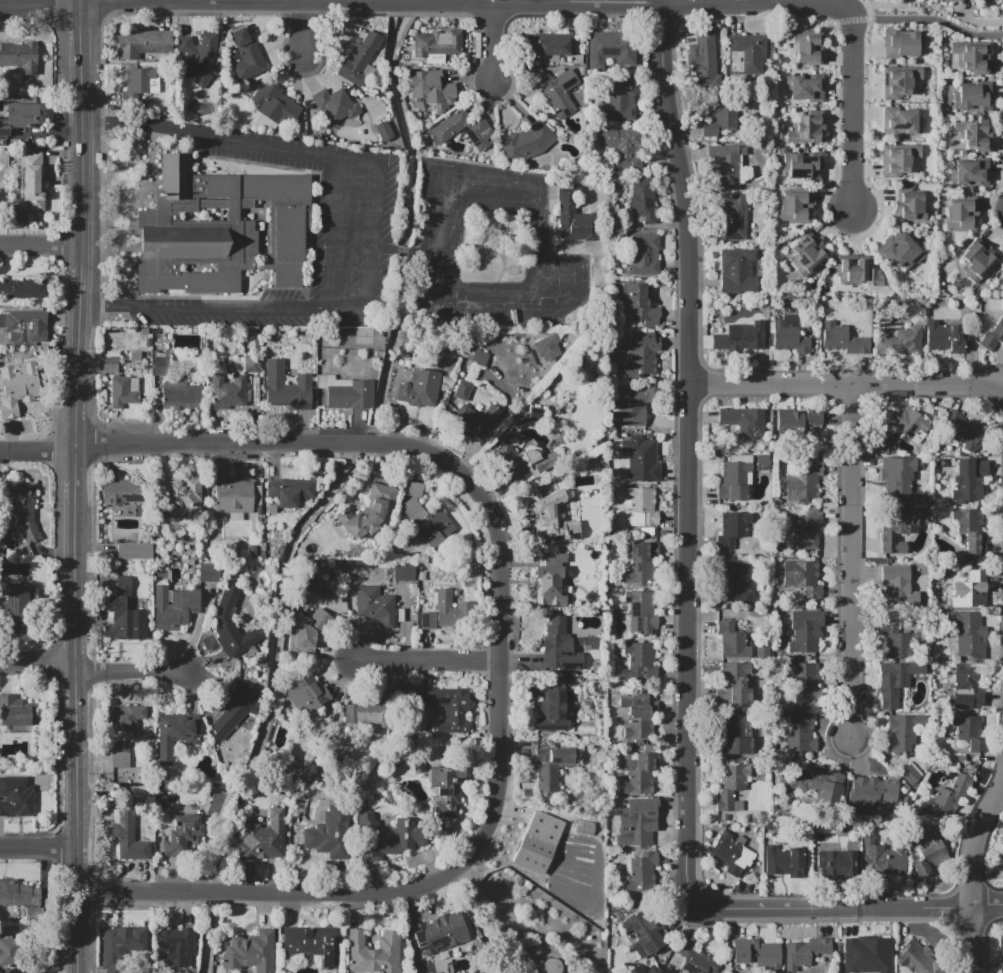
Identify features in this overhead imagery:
road: (762, 1)
building: (950, 1)
road: (79, 2)
road: (370, 2)
road: (845, 2)
road: (39, 5)
road: (877, 5)
road: (929, 19)
road: (979, 21)
road: (306, 30)
road: (491, 42)
building: (141, 43)
building: (908, 43)
building: (435, 45)
building: (550, 47)
building: (609, 48)
building: (807, 48)
building: (749, 53)
building: (245, 56)
building: (970, 57)
building: (19, 58)
building: (197, 58)
building: (356, 59)
building: (701, 60)
building: (137, 79)
building: (908, 83)
building: (802, 85)
building: (431, 90)
building: (555, 90)
building: (971, 95)
building: (618, 101)
building: (273, 103)
building: (343, 107)
building: (720, 115)
road: (852, 115)
building: (20, 117)
building: (900, 121)
road: (141, 124)
building: (464, 128)
building: (804, 129)
building: (383, 130)
building: (970, 134)
building: (526, 142)
road: (271, 145)
building: (621, 150)
road: (82, 153)
road: (361, 160)
building: (900, 161)
building: (725, 164)
building: (800, 165)
building: (968, 174)
building: (32, 181)
building: (0, 199)
building: (639, 203)
building: (907, 203)
building: (794, 207)
building: (960, 214)
building: (573, 219)
building: (731, 219)
building: (219, 230)
parking lot: (354, 230)
road: (336, 231)
road: (539, 231)
road: (372, 233)
road: (40, 245)
road: (383, 248)
road: (402, 250)
building: (805, 254)
building: (903, 254)
building: (642, 255)
building: (976, 260)
building: (849, 270)
building: (736, 271)
building: (23, 288)
road: (222, 304)
building: (640, 305)
building: (24, 325)
building: (786, 334)
building: (746, 336)
building: (946, 337)
building: (992, 337)
building: (352, 338)
building: (842, 339)
building: (907, 341)
building: (303, 344)
building: (546, 347)
building: (638, 352)
building: (112, 354)
building: (135, 356)
building: (480, 358)
building: (251, 364)
building: (110, 365)
building: (159, 365)
building: (23, 383)
road: (846, 386)
building: (418, 389)
building: (462, 390)
building: (121, 393)
building: (227, 393)
building: (350, 395)
building: (288, 396)
building: (179, 397)
building: (633, 409)
building: (473, 420)
building: (816, 420)
building: (743, 423)
building: (909, 426)
building: (967, 433)
road: (688, 449)
road: (36, 451)
building: (640, 459)
building: (523, 465)
building: (898, 481)
building: (967, 481)
building: (732, 482)
building: (803, 483)
building: (121, 491)
building: (291, 491)
building: (234, 495)
building: (178, 496)
building: (22, 508)
building: (638, 508)
building: (368, 512)
building: (426, 517)
building: (552, 518)
building: (970, 529)
building: (809, 531)
building: (897, 531)
building: (731, 534)
building: (134, 551)
building: (640, 561)
road: (854, 562)
building: (208, 571)
building: (403, 572)
building: (546, 578)
building: (804, 578)
building: (896, 578)
building: (734, 584)
building: (970, 591)
road: (75, 597)
building: (374, 605)
building: (17, 607)
building: (173, 607)
building: (122, 612)
building: (441, 613)
building: (642, 615)
building: (231, 624)
building: (803, 632)
building: (306, 633)
building: (969, 635)
building: (731, 641)
building: (896, 641)
building: (558, 648)
road: (428, 658)
building: (640, 659)
road: (37, 664)
road: (501, 667)
road: (134, 672)
building: (895, 679)
building: (970, 684)
building: (734, 685)
building: (804, 687)
building: (306, 694)
building: (445, 708)
building: (233, 710)
building: (17, 712)
building: (552, 715)
building: (364, 716)
building: (637, 722)
building: (967, 731)
building: (123, 732)
building: (796, 733)
building: (900, 733)
building: (177, 734)
building: (732, 739)
building: (550, 768)
building: (639, 775)
building: (817, 783)
building: (732, 788)
building: (958, 789)
building: (446, 791)
building: (872, 791)
building: (17, 799)
building: (638, 830)
building: (127, 835)
building: (328, 835)
building: (182, 837)
building: (262, 838)
building: (386, 838)
building: (1001, 841)
building: (539, 843)
road: (39, 849)
building: (731, 853)
building: (929, 855)
building: (882, 859)
building: (783, 861)
building: (1002, 861)
building: (833, 866)
building: (641, 871)
road: (975, 875)
building: (20, 893)
road: (847, 908)
building: (646, 931)
building: (441, 932)
road: (78, 933)
building: (121, 942)
building: (313, 943)
building: (174, 944)
building: (249, 951)
building: (871, 951)
building: (821, 952)
building: (6, 953)
building: (372, 953)
building: (758, 954)
building: (1001, 954)
building: (796, 956)
building: (694, 960)
building: (917, 960)
building: (549, 965)
building: (435, 972)

